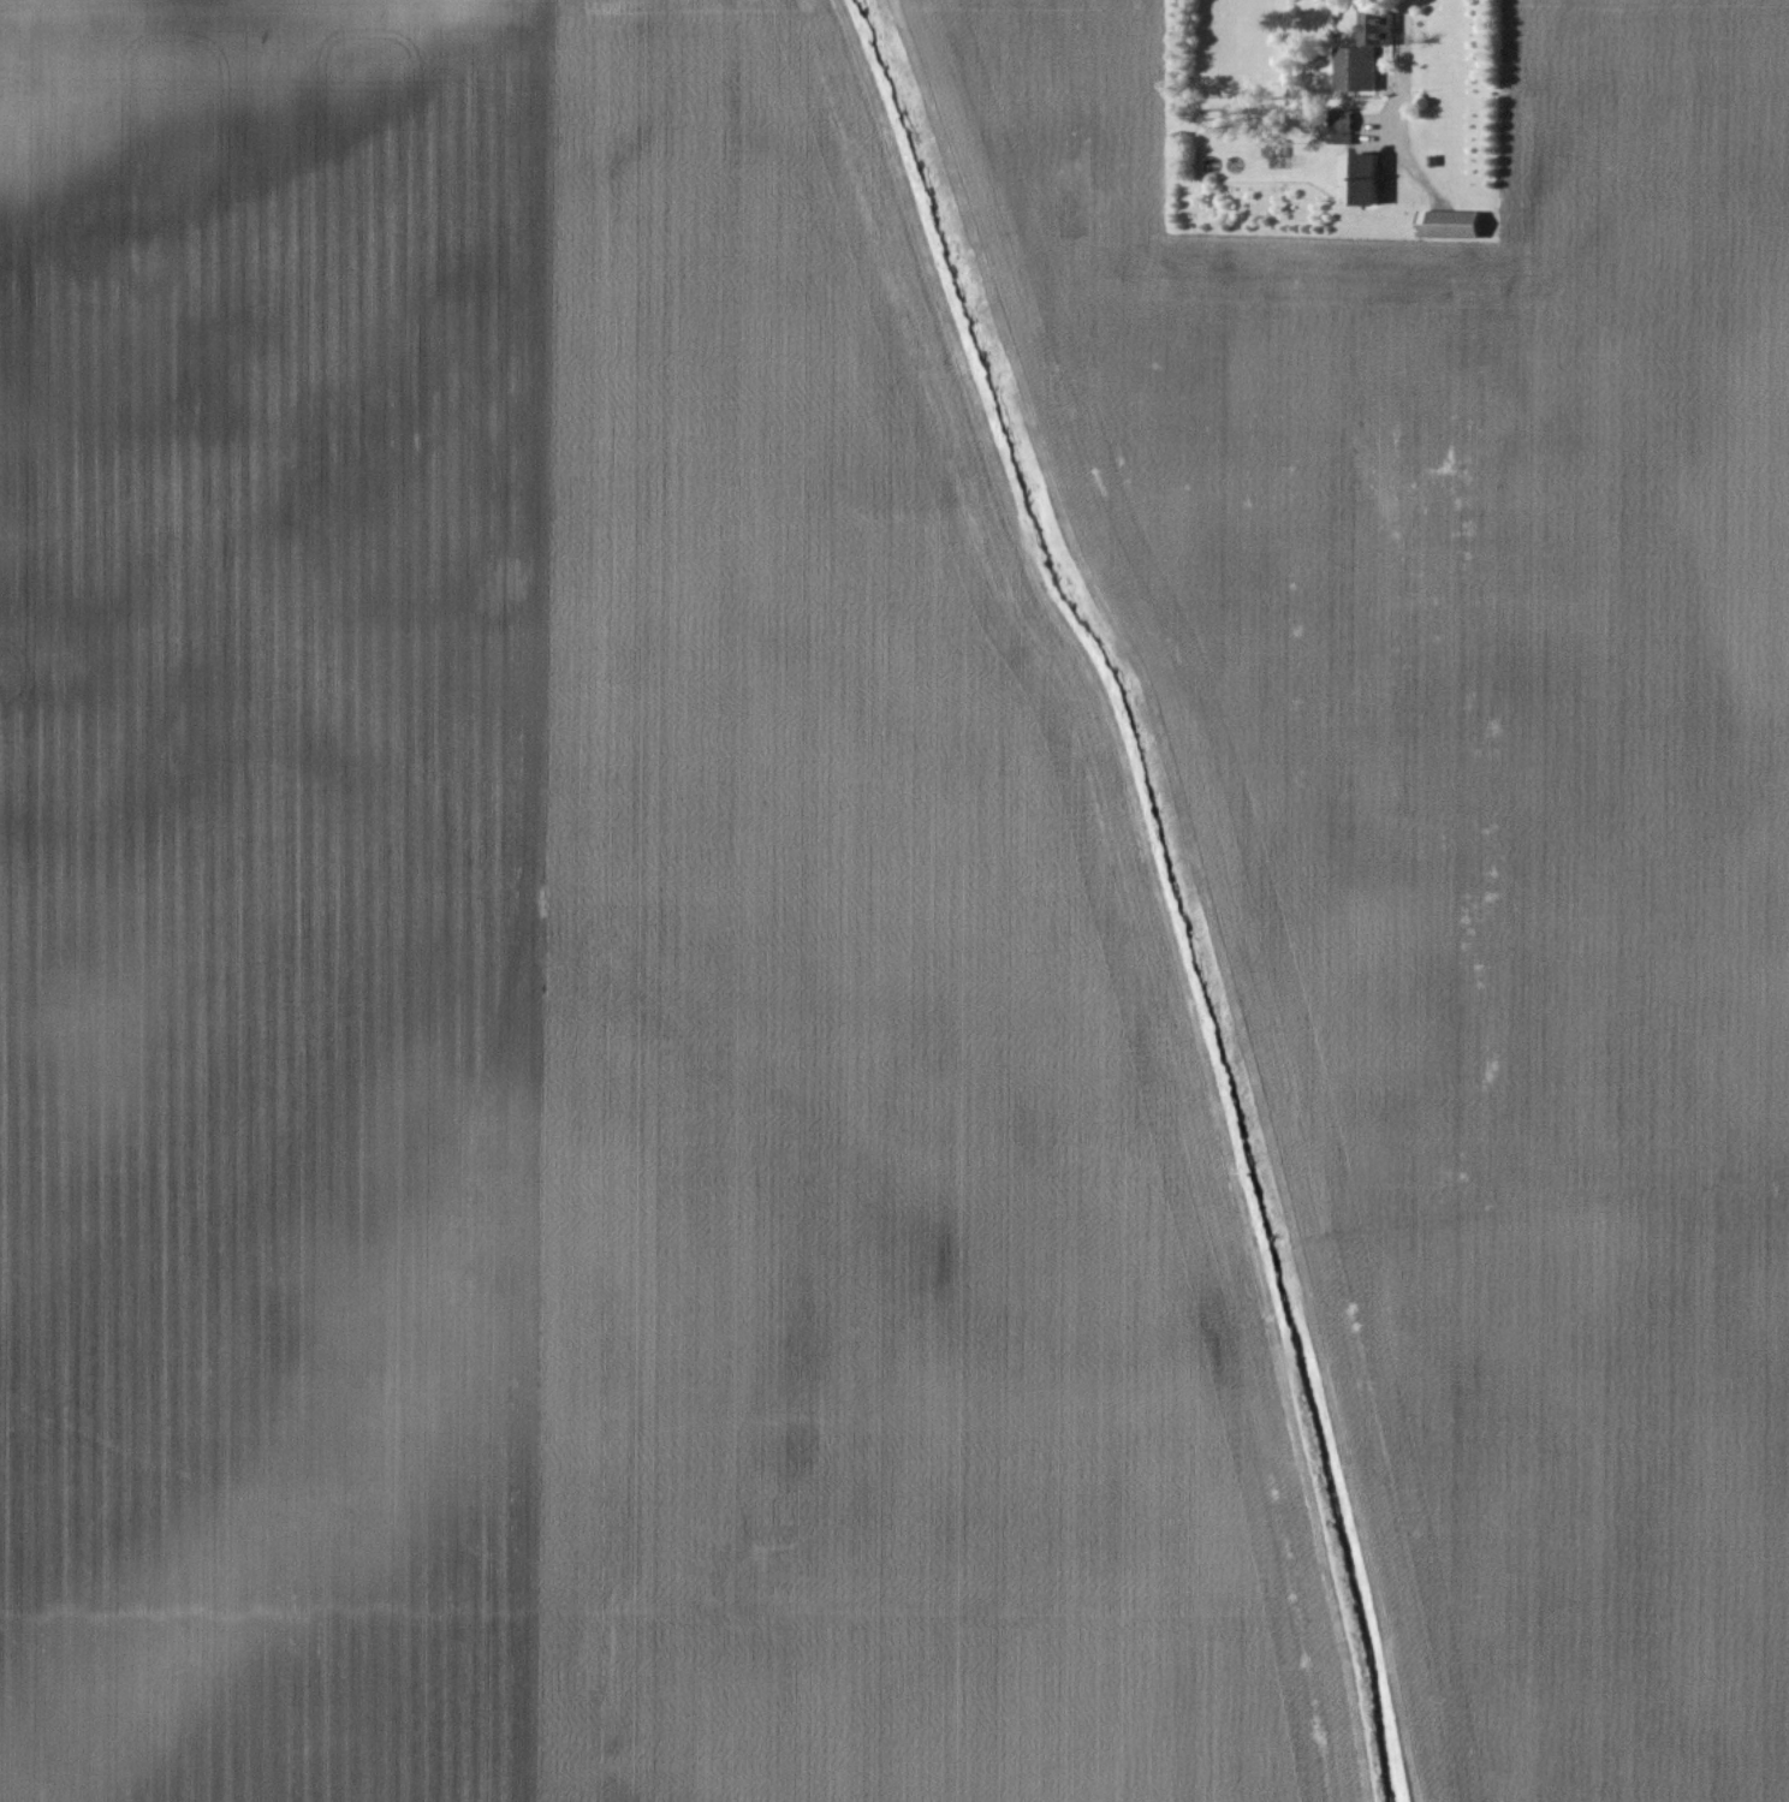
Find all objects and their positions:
building: (1365, 57)
road: (1407, 108)
building: (1344, 121)
building: (1363, 177)
building: (1452, 225)

